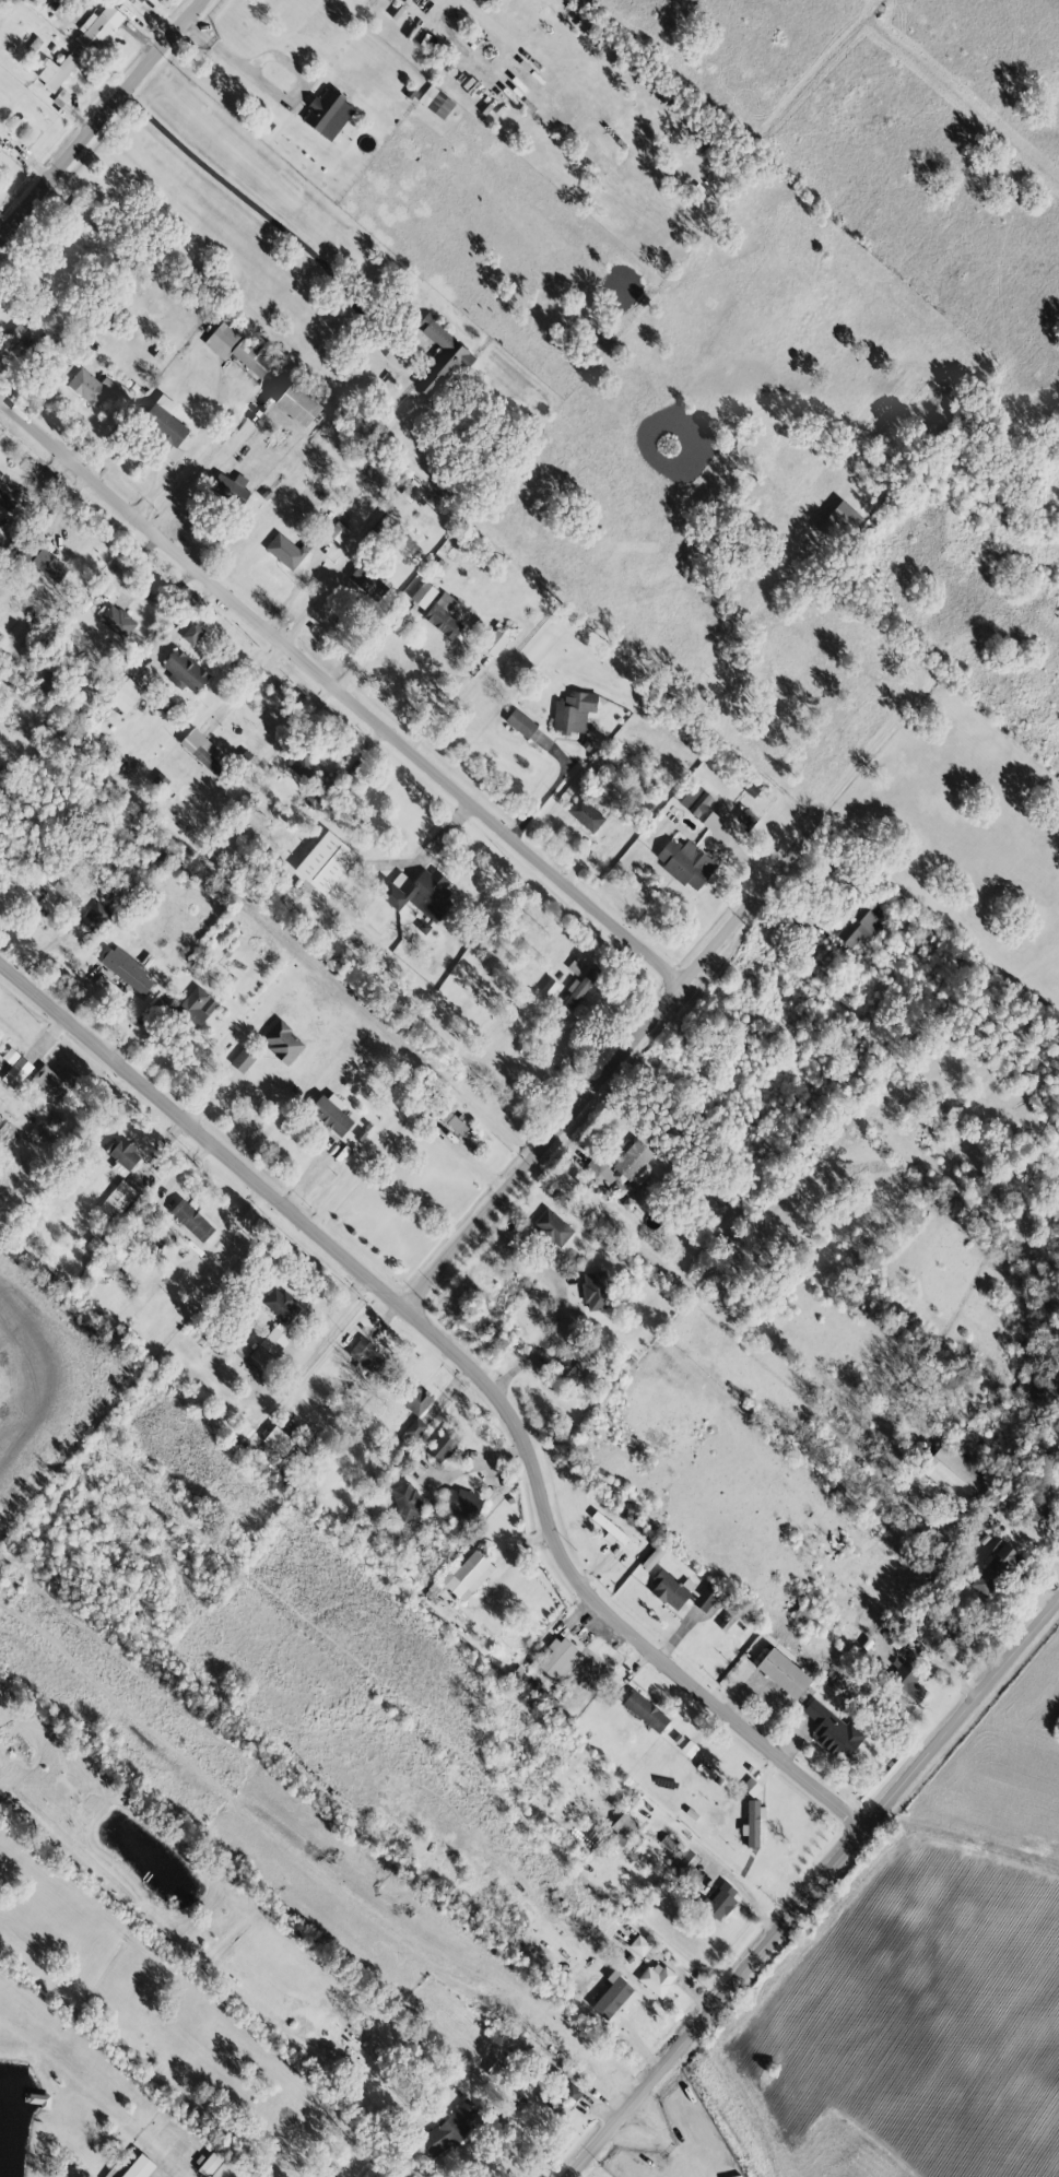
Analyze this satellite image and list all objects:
building: (139, 0)
building: (98, 27)
building: (55, 72)
road: (275, 94)
building: (443, 107)
building: (327, 114)
road: (105, 125)
road: (256, 210)
building: (16, 330)
building: (236, 349)
building: (439, 357)
building: (90, 387)
building: (165, 426)
building: (226, 487)
building: (410, 490)
building: (8, 496)
building: (338, 532)
building: (1, 537)
building: (284, 551)
building: (48, 565)
building: (367, 583)
building: (423, 595)
building: (443, 616)
building: (116, 621)
building: (192, 633)
building: (494, 643)
road: (372, 649)
building: (184, 671)
road: (246, 684)
road: (340, 690)
building: (125, 694)
building: (573, 711)
building: (520, 722)
building: (0, 768)
building: (307, 768)
road: (544, 795)
building: (695, 800)
building: (586, 814)
building: (746, 819)
building: (711, 821)
building: (325, 862)
building: (685, 862)
building: (66, 893)
building: (419, 893)
building: (94, 917)
building: (861, 923)
building: (123, 968)
building: (549, 986)
building: (580, 986)
building: (195, 1007)
building: (283, 1040)
building: (9, 1057)
building: (243, 1059)
building: (16, 1072)
road: (609, 1072)
building: (55, 1080)
building: (330, 1114)
building: (455, 1123)
building: (361, 1133)
building: (123, 1155)
road: (470, 1158)
building: (331, 1162)
building: (626, 1166)
road: (180, 1180)
building: (116, 1200)
building: (191, 1219)
building: (552, 1226)
building: (133, 1242)
building: (94, 1245)
building: (595, 1290)
road: (561, 1303)
building: (280, 1304)
road: (336, 1317)
building: (268, 1346)
building: (240, 1349)
building: (366, 1355)
road: (472, 1370)
building: (414, 1398)
building: (412, 1432)
building: (278, 1440)
building: (443, 1444)
road: (482, 1458)
building: (955, 1476)
building: (1040, 1484)
building: (407, 1499)
building: (462, 1503)
building: (992, 1569)
building: (468, 1575)
building: (669, 1590)
building: (705, 1598)
building: (557, 1659)
building: (783, 1673)
building: (906, 1680)
building: (645, 1710)
building: (832, 1729)
building: (752, 1822)
building: (685, 1862)
road: (817, 1892)
building: (719, 1899)
building: (639, 1944)
road: (536, 1964)
building: (657, 1978)
building: (349, 2041)
building: (495, 2070)
building: (572, 2093)
building: (449, 2128)
road: (666, 2143)
road: (518, 2151)
building: (210, 2164)
building: (139, 2167)
building: (105, 2176)

